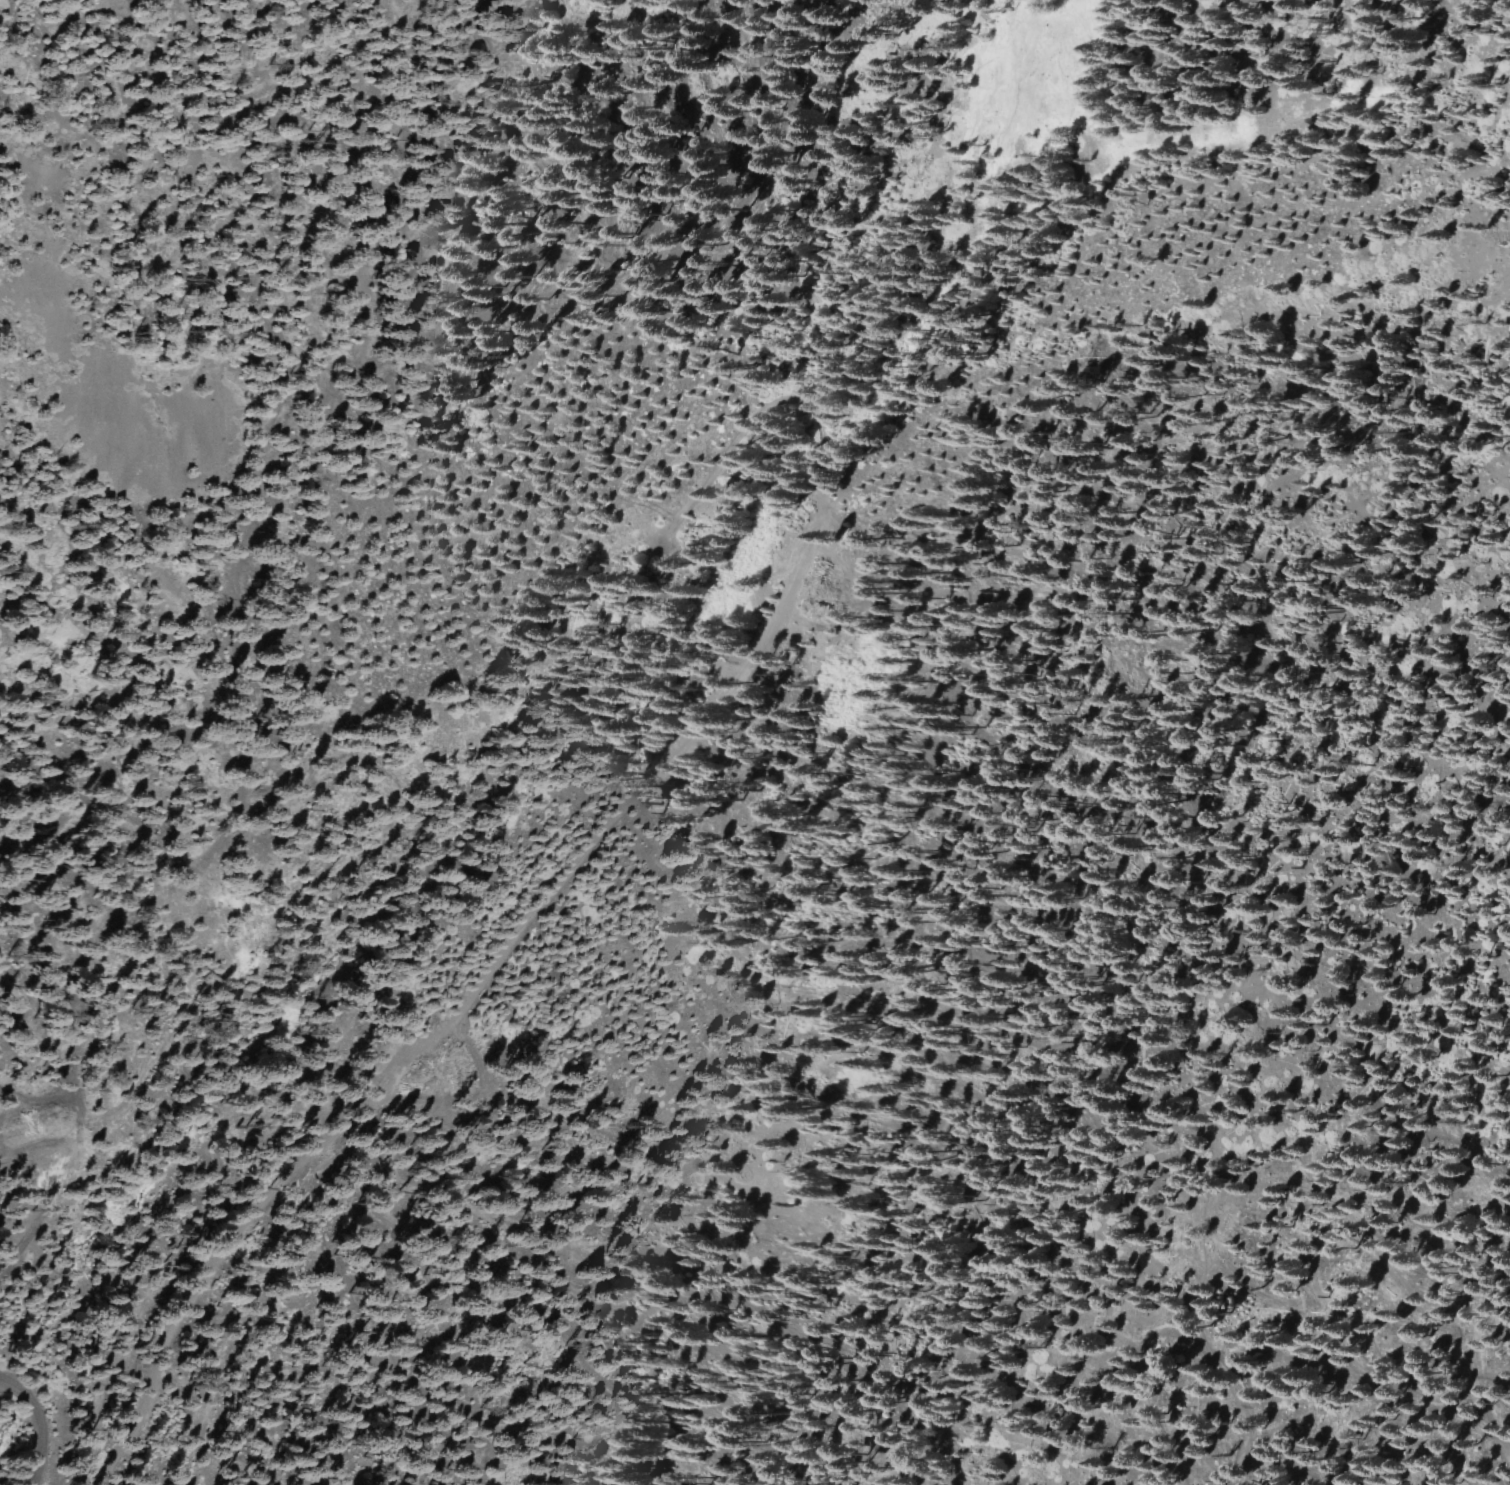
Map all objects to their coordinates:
road: (573, 868)
road: (36, 1424)

